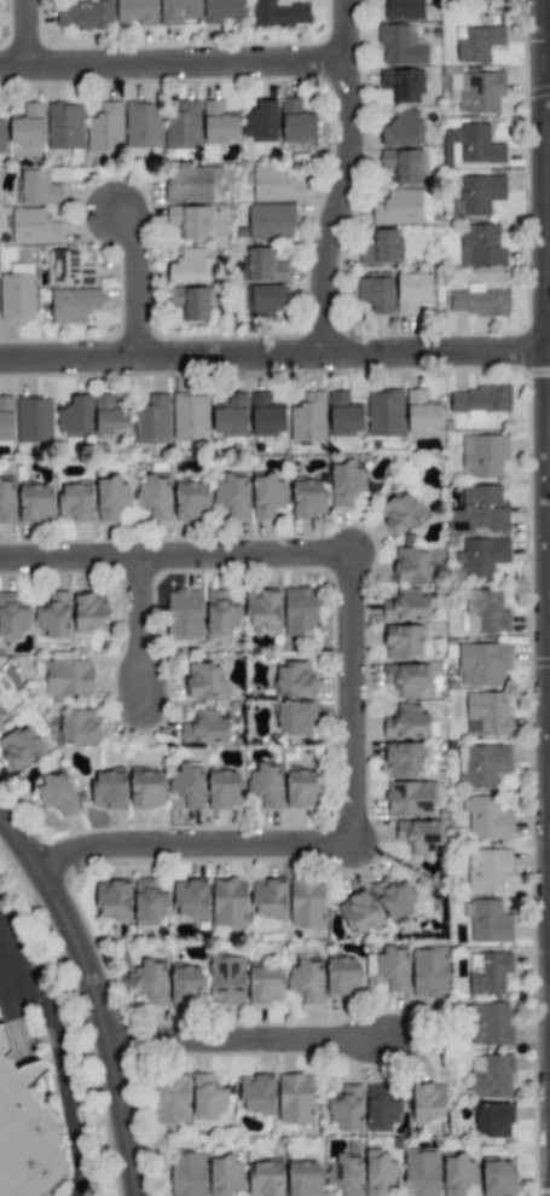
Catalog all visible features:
building: (403, 10)
building: (179, 11)
building: (221, 11)
building: (137, 12)
building: (279, 13)
building: (85, 16)
road: (27, 31)
building: (476, 42)
building: (400, 45)
road: (170, 62)
road: (549, 67)
building: (403, 85)
building: (476, 91)
building: (260, 121)
building: (296, 122)
building: (218, 123)
building: (141, 125)
building: (28, 126)
building: (64, 126)
building: (183, 126)
building: (105, 128)
building: (403, 129)
building: (2, 135)
building: (476, 144)
building: (404, 164)
road: (345, 178)
building: (277, 183)
building: (187, 184)
building: (37, 187)
building: (479, 193)
building: (398, 207)
building: (189, 221)
building: (270, 221)
building: (34, 226)
road: (549, 227)
building: (481, 245)
building: (381, 247)
building: (262, 266)
building: (190, 267)
building: (68, 268)
road: (549, 277)
road: (132, 283)
building: (411, 291)
building: (375, 293)
building: (17, 296)
building: (264, 301)
building: (479, 301)
building: (191, 302)
building: (73, 305)
road: (273, 356)
building: (479, 400)
building: (384, 412)
building: (421, 412)
building: (343, 415)
building: (190, 416)
building: (231, 416)
building: (266, 416)
building: (75, 417)
building: (308, 417)
building: (6, 418)
building: (110, 418)
building: (34, 420)
building: (152, 421)
building: (484, 455)
building: (346, 484)
building: (267, 495)
building: (232, 496)
building: (155, 497)
building: (111, 498)
building: (6, 501)
building: (191, 501)
building: (75, 502)
building: (35, 503)
building: (480, 510)
building: (400, 512)
road: (238, 555)
road: (65, 556)
building: (480, 556)
building: (411, 565)
building: (406, 606)
building: (262, 608)
building: (300, 611)
building: (484, 611)
building: (88, 613)
building: (220, 613)
building: (185, 614)
building: (53, 616)
building: (12, 617)
road: (132, 631)
building: (403, 641)
building: (482, 664)
building: (66, 677)
building: (406, 678)
building: (204, 680)
building: (294, 680)
road: (347, 700)
building: (2, 710)
building: (486, 713)
building: (295, 717)
building: (406, 722)
building: (77, 727)
building: (204, 728)
building: (19, 746)
building: (403, 759)
building: (482, 764)
building: (186, 784)
building: (266, 785)
building: (302, 787)
building: (146, 788)
building: (224, 788)
building: (108, 790)
building: (57, 793)
building: (486, 817)
building: (419, 836)
road: (183, 844)
building: (486, 869)
building: (190, 899)
building: (268, 899)
building: (394, 899)
building: (112, 900)
building: (228, 901)
building: (149, 902)
building: (307, 902)
building: (359, 913)
building: (487, 921)
building: (393, 967)
building: (429, 972)
road: (15, 976)
building: (342, 976)
building: (226, 980)
building: (306, 980)
building: (150, 981)
building: (186, 984)
building: (265, 984)
road: (87, 1004)
building: (490, 1023)
road: (237, 1041)
road: (63, 1055)
building: (491, 1076)
building: (256, 1094)
building: (207, 1097)
building: (170, 1098)
building: (295, 1098)
building: (428, 1102)
building: (346, 1109)
building: (381, 1109)
building: (492, 1120)
building: (25, 1132)
building: (380, 1172)
building: (187, 1173)
building: (421, 1173)
building: (224, 1174)
building: (343, 1174)
building: (457, 1174)
building: (265, 1178)
building: (303, 1178)
building: (498, 1178)

